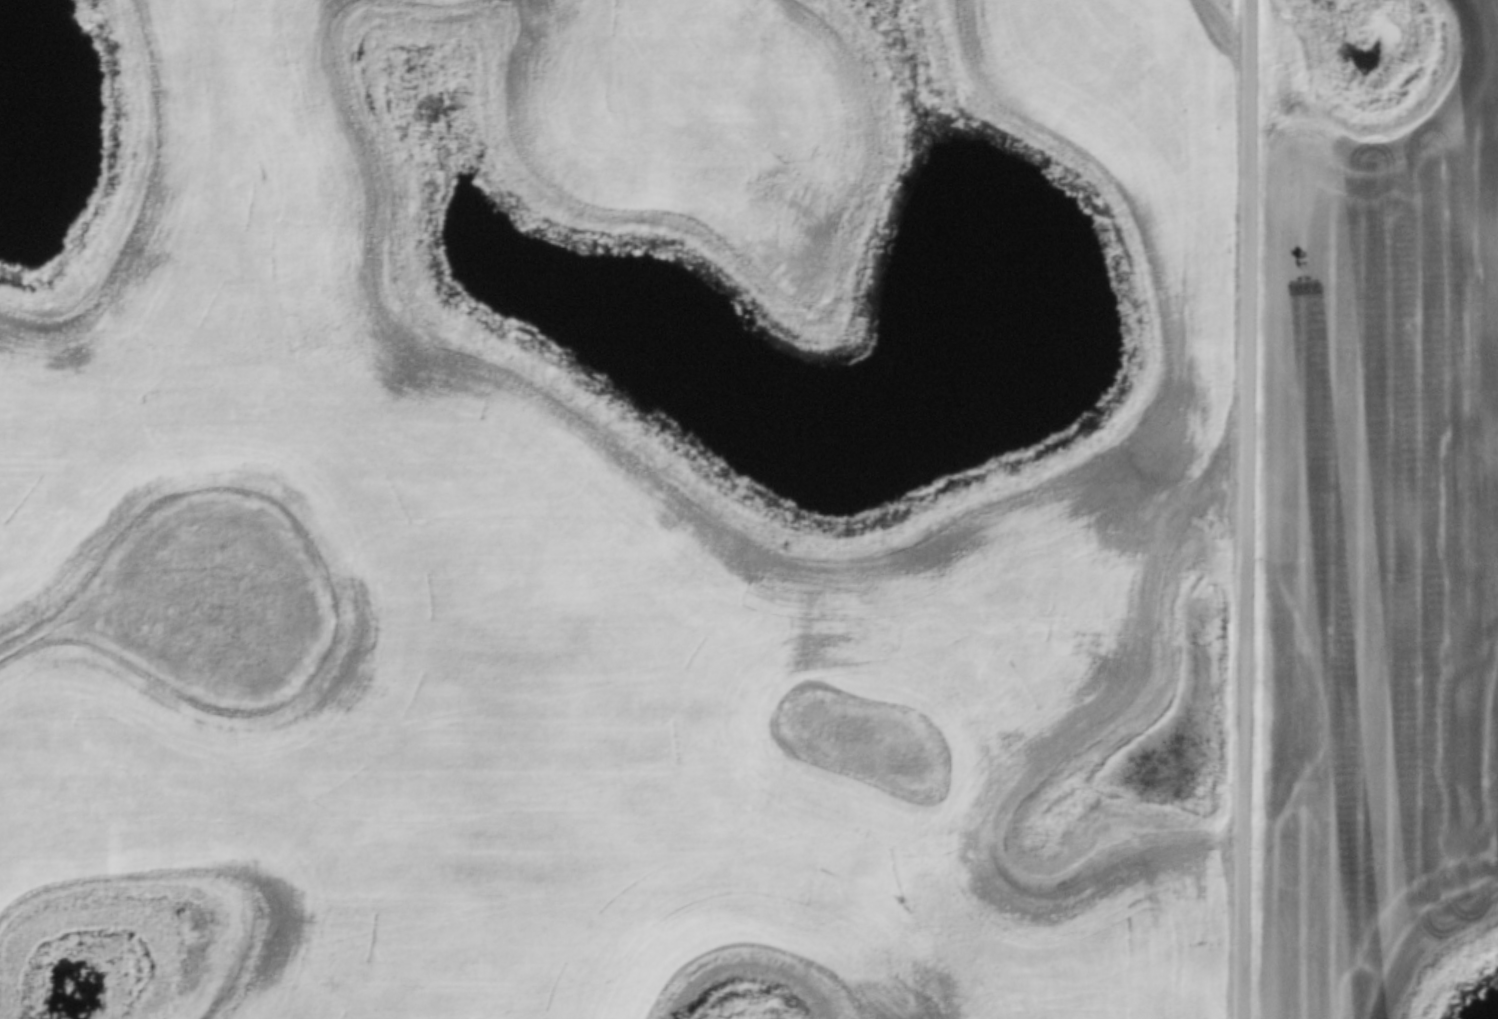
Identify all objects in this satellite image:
road: (1255, 509)

